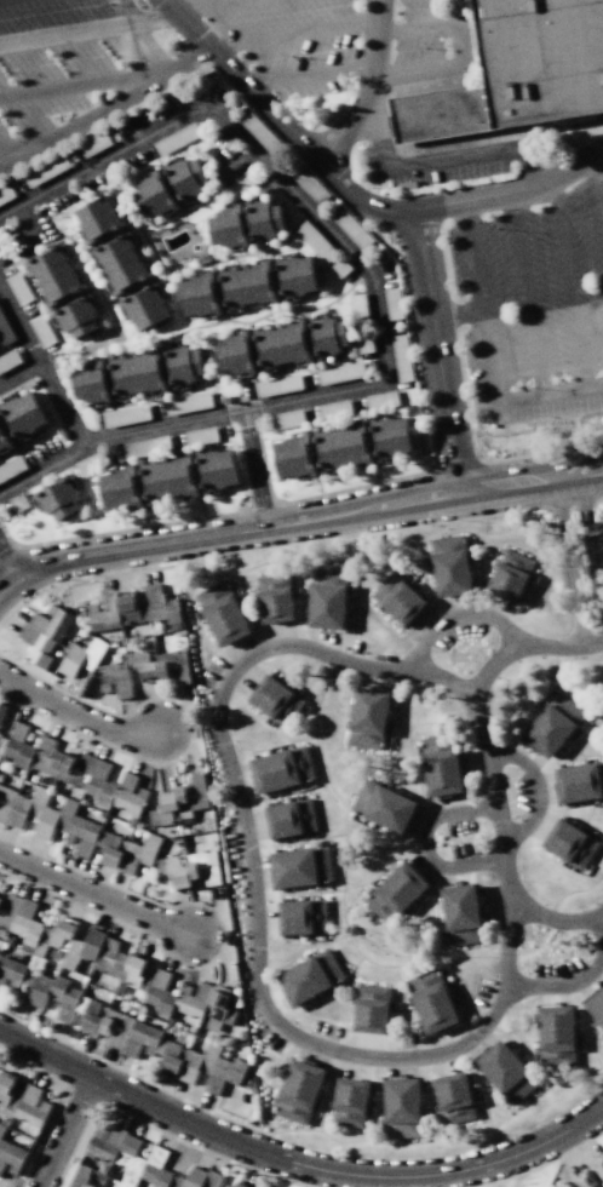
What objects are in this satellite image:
road: (206, 4)
road: (455, 12)
road: (88, 30)
road: (291, 34)
parking lot: (289, 40)
road: (458, 50)
parking lot: (69, 56)
building: (518, 71)
road: (306, 75)
road: (79, 87)
road: (368, 87)
road: (103, 107)
building: (259, 131)
building: (176, 138)
building: (93, 143)
road: (21, 145)
road: (433, 162)
building: (45, 170)
building: (186, 177)
building: (308, 183)
road: (512, 191)
road: (597, 191)
building: (6, 193)
building: (154, 195)
road: (389, 210)
building: (97, 219)
building: (262, 219)
road: (28, 225)
building: (226, 228)
building: (351, 229)
building: (315, 241)
building: (120, 263)
building: (339, 266)
building: (54, 274)
building: (295, 276)
road: (570, 282)
building: (247, 286)
building: (18, 287)
road: (373, 294)
road: (527, 294)
building: (199, 296)
building: (392, 303)
building: (144, 306)
parking lot: (532, 308)
building: (76, 316)
road: (455, 316)
building: (360, 323)
building: (41, 331)
building: (5, 332)
building: (329, 336)
building: (281, 344)
building: (232, 354)
road: (488, 354)
building: (401, 356)
building: (8, 360)
building: (184, 365)
road: (41, 368)
road: (19, 373)
building: (136, 373)
building: (340, 373)
building: (87, 383)
building: (277, 385)
building: (380, 400)
building: (188, 403)
building: (334, 408)
building: (23, 415)
building: (125, 415)
building: (286, 419)
building: (200, 436)
building: (390, 437)
building: (4, 438)
building: (145, 447)
building: (341, 447)
building: (293, 457)
building: (90, 464)
building: (11, 468)
road: (253, 469)
building: (216, 470)
building: (167, 478)
road: (530, 480)
building: (120, 488)
building: (58, 498)
building: (18, 503)
road: (226, 533)
road: (591, 541)
road: (570, 560)
road: (7, 562)
building: (450, 566)
building: (509, 575)
building: (275, 598)
building: (327, 598)
building: (397, 598)
building: (133, 608)
building: (222, 613)
building: (44, 635)
road: (580, 644)
building: (81, 658)
building: (150, 667)
building: (179, 673)
building: (114, 679)
road: (447, 679)
building: (276, 700)
building: (1, 711)
road: (76, 717)
building: (368, 718)
building: (553, 724)
building: (18, 746)
road: (488, 759)
building: (63, 762)
building: (441, 765)
building: (281, 769)
building: (96, 780)
building: (579, 782)
road: (538, 787)
building: (182, 801)
building: (383, 805)
building: (28, 810)
building: (289, 818)
building: (81, 830)
road: (243, 836)
road: (425, 842)
building: (570, 843)
building: (111, 851)
building: (134, 858)
building: (300, 867)
building: (180, 871)
building: (395, 891)
road: (94, 895)
building: (461, 914)
building: (301, 917)
building: (19, 918)
road: (553, 919)
road: (601, 924)
building: (62, 931)
building: (92, 945)
building: (109, 946)
building: (12, 969)
building: (128, 969)
building: (310, 976)
road: (561, 986)
building: (52, 991)
building: (159, 993)
building: (431, 1000)
building: (203, 1004)
building: (596, 1005)
building: (371, 1009)
building: (94, 1019)
building: (556, 1036)
building: (145, 1043)
building: (189, 1065)
building: (229, 1070)
building: (506, 1073)
building: (5, 1088)
building: (299, 1091)
building: (454, 1099)
building: (350, 1102)
building: (28, 1106)
building: (402, 1108)
building: (1, 1129)
road: (65, 1131)
building: (113, 1143)
building: (10, 1157)
road: (295, 1163)
building: (598, 1165)
road: (264, 1169)
building: (148, 1170)
park: (530, 1177)
building: (189, 1179)
building: (585, 1179)
building: (213, 1180)
park: (281, 1183)
building: (239, 1185)

